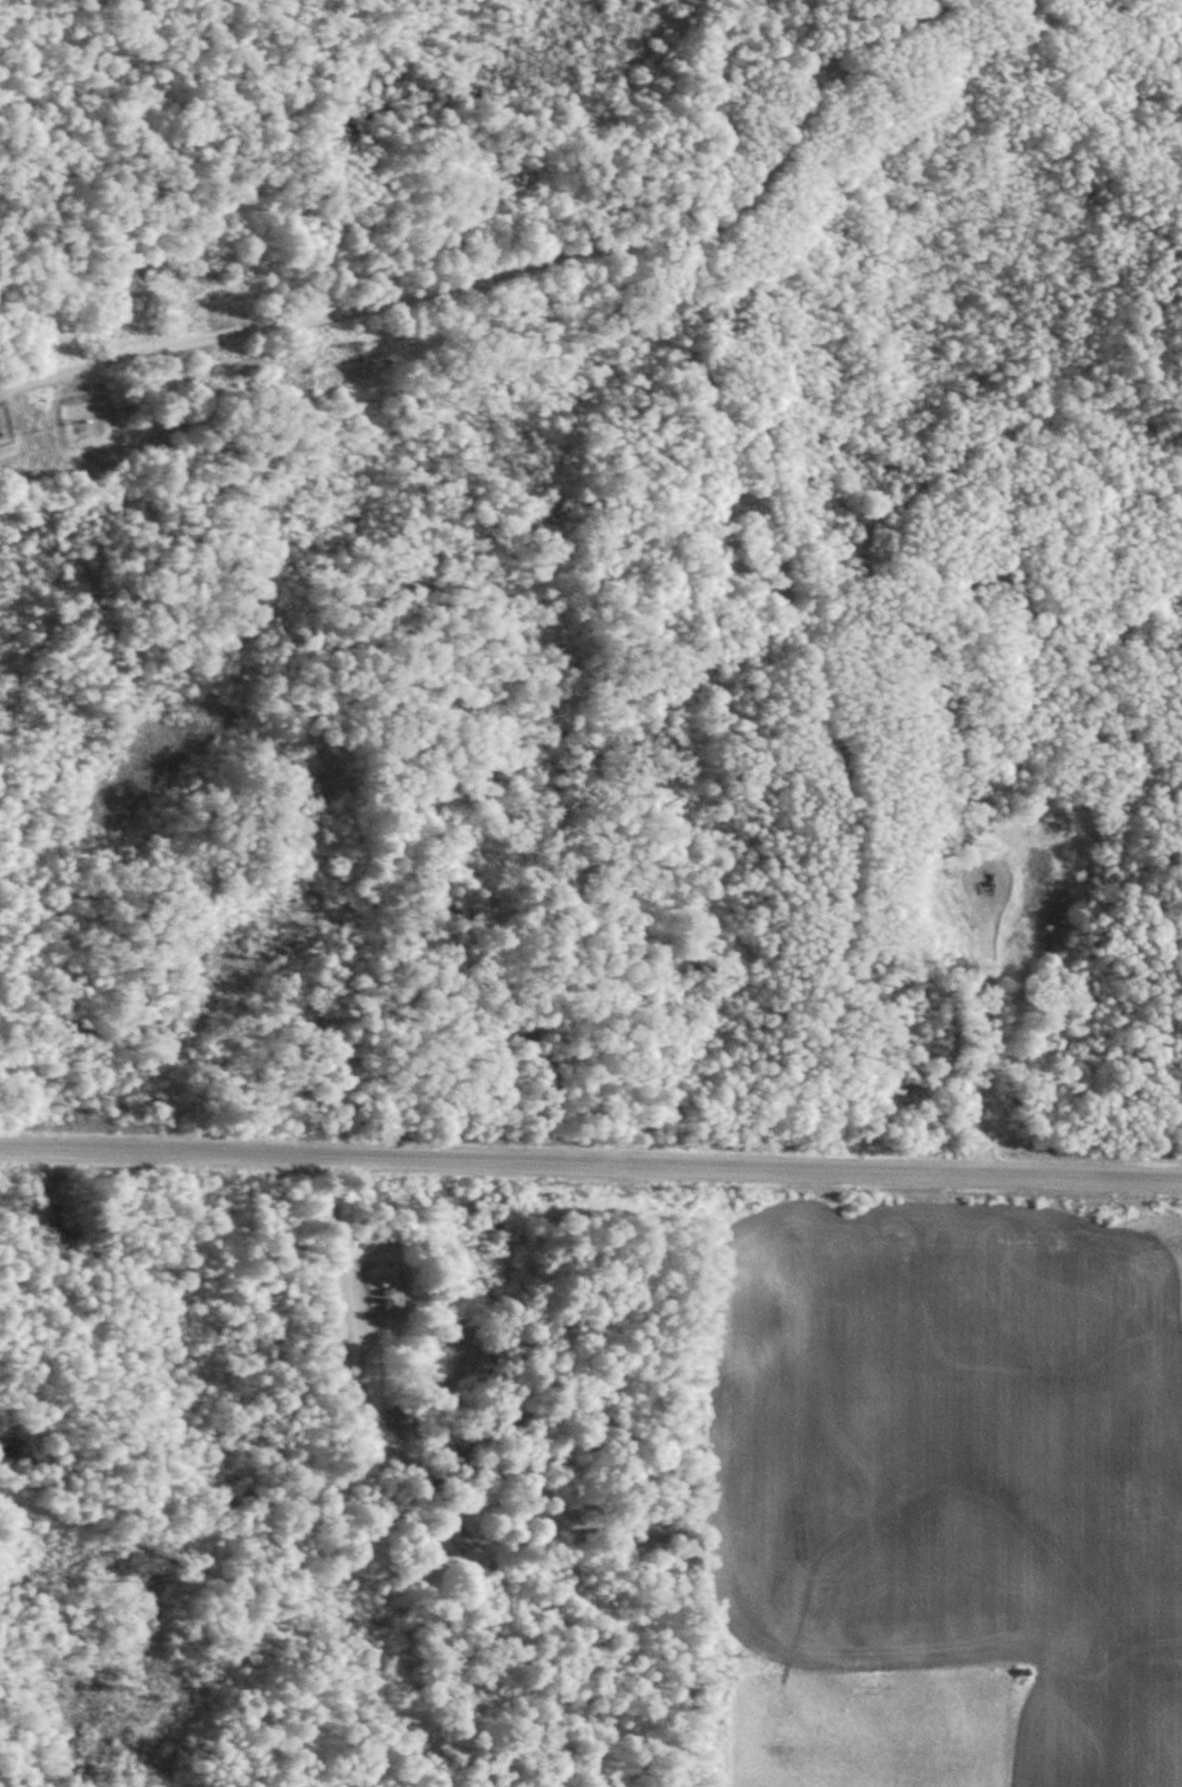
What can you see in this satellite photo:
road: (515, 280)
petroleum well: (988, 878)
road: (591, 1168)
building: (454, 1544)
petroleum well: (466, 1544)

